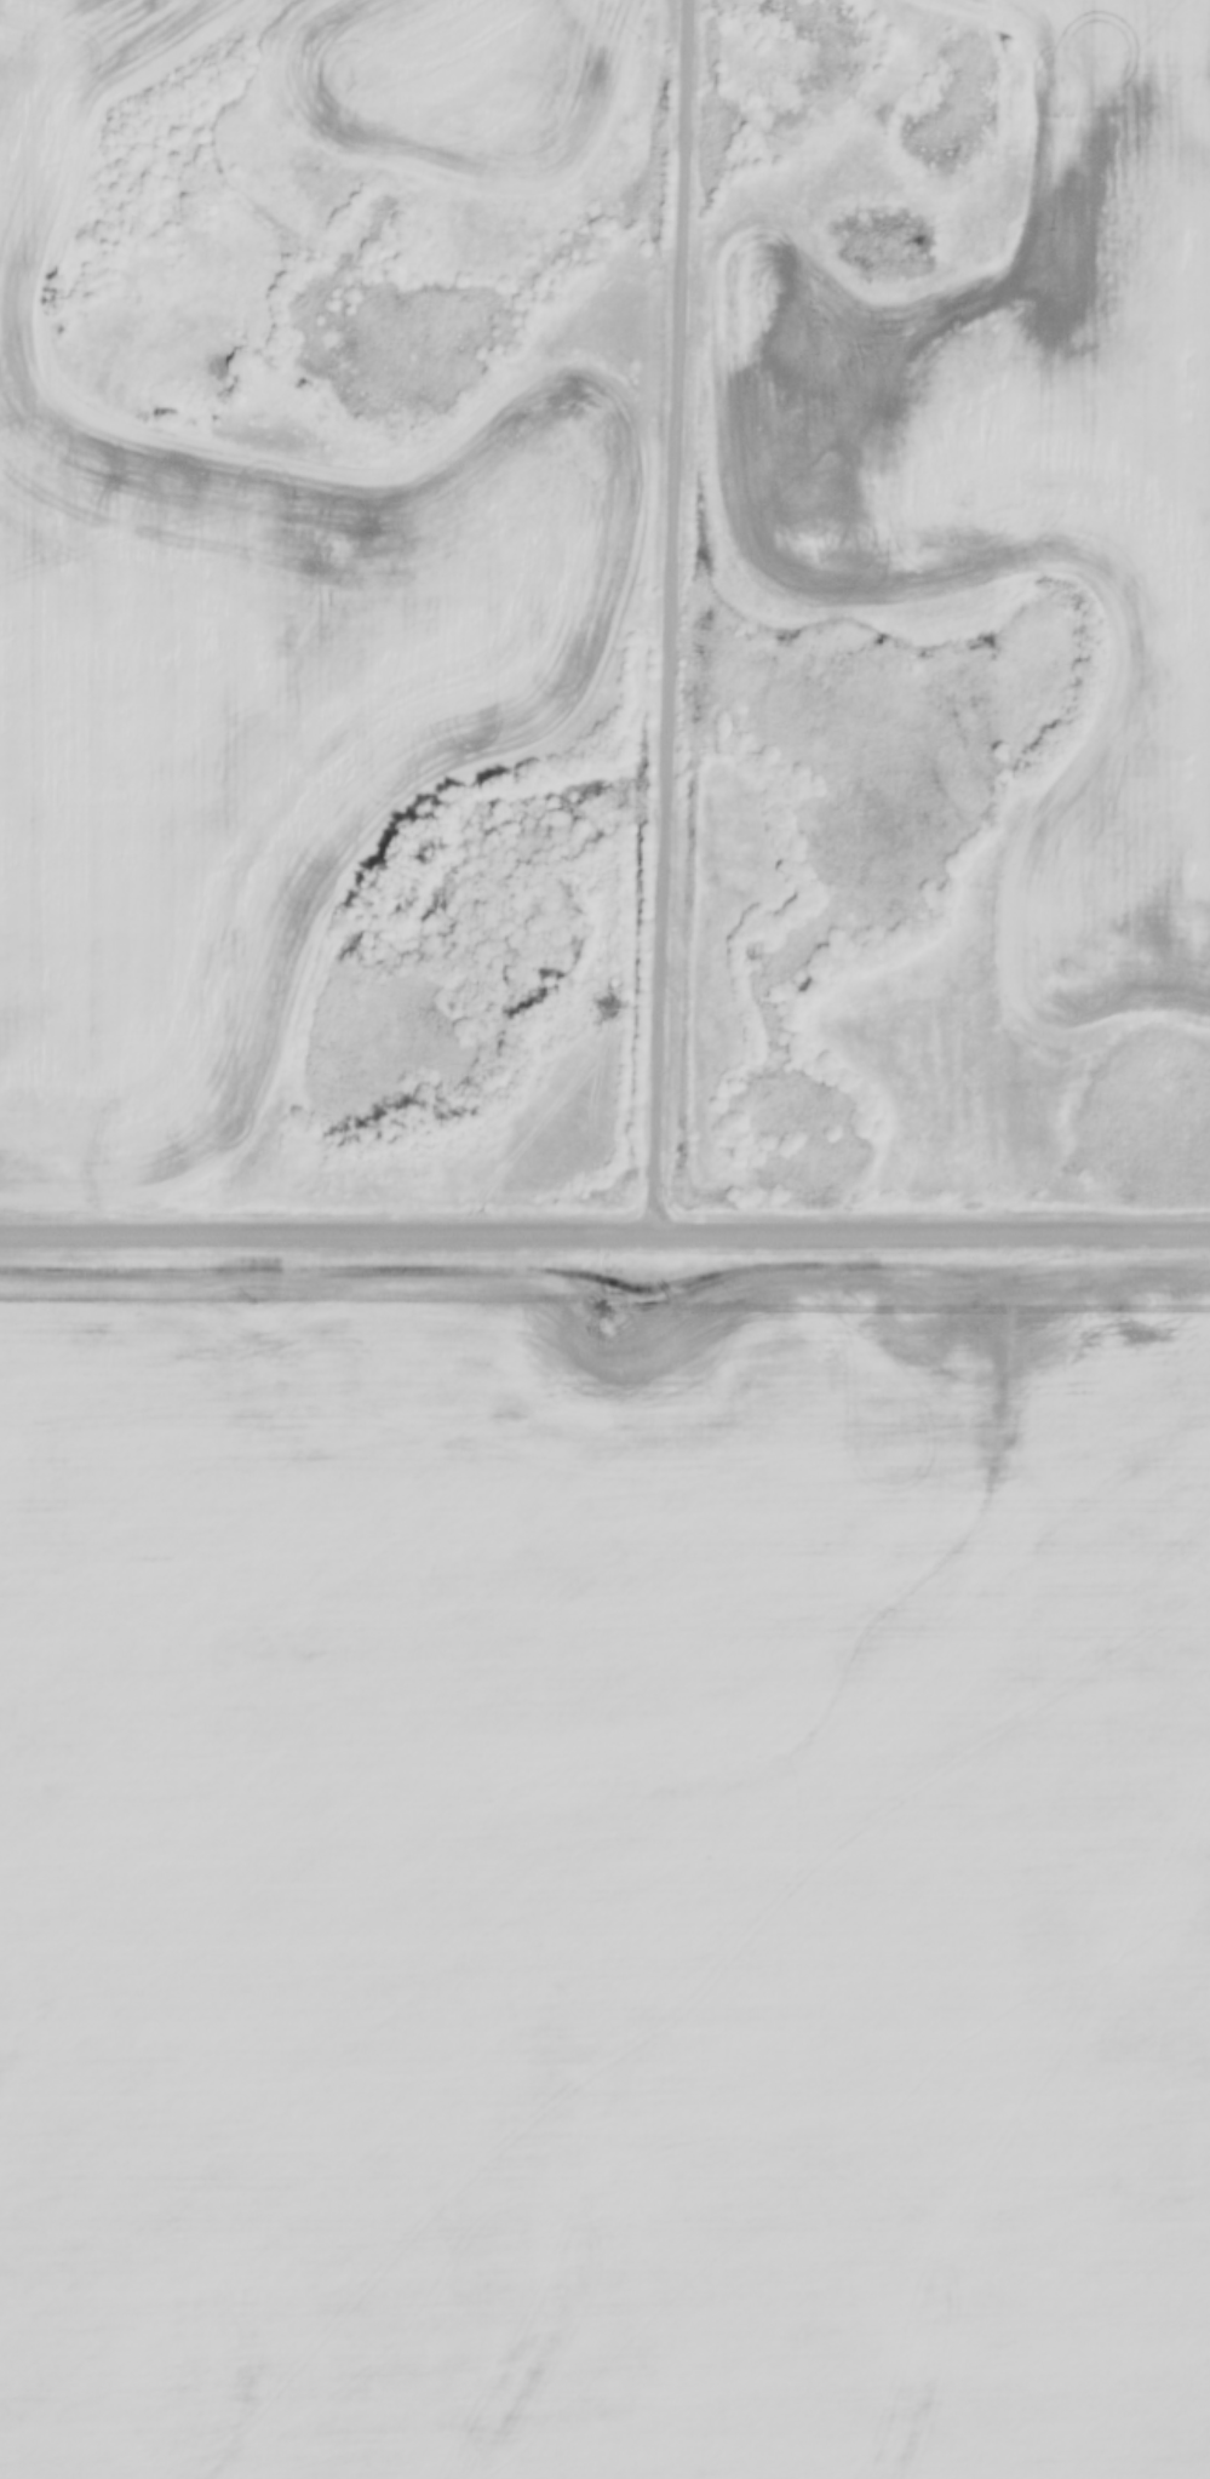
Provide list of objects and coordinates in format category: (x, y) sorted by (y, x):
road: (673, 613)
road: (604, 1226)

